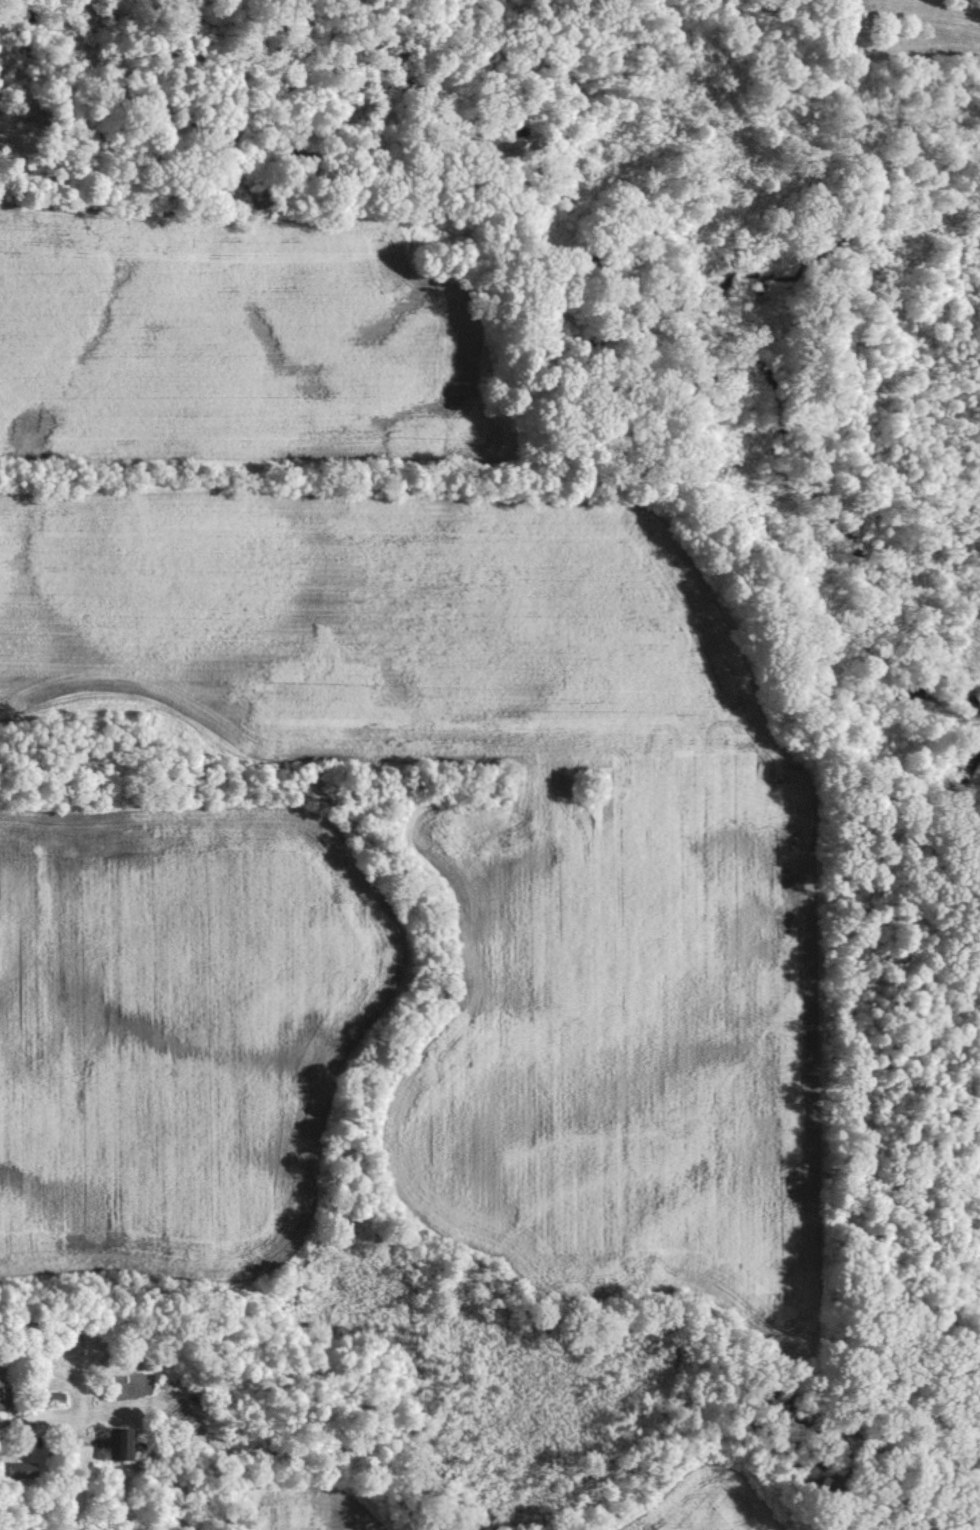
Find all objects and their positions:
building: (3, 1395)
building: (116, 1443)
building: (15, 1469)

